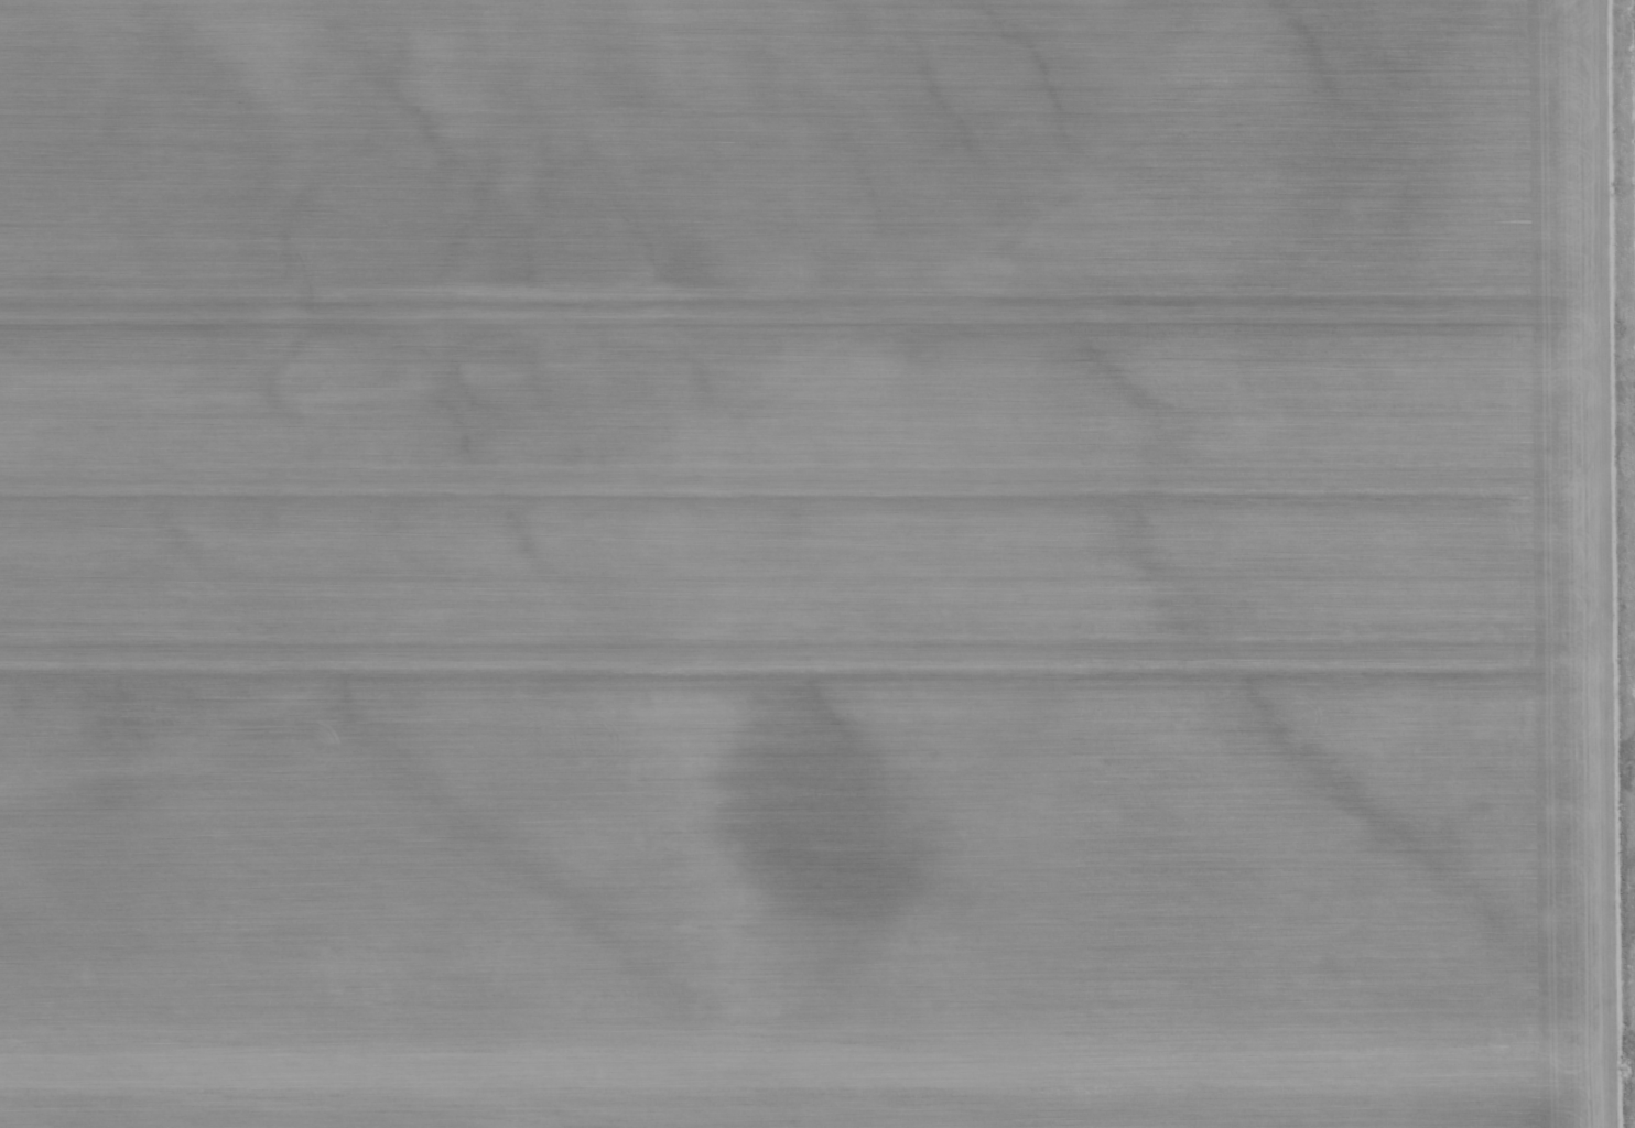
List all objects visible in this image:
road: (1613, 564)

